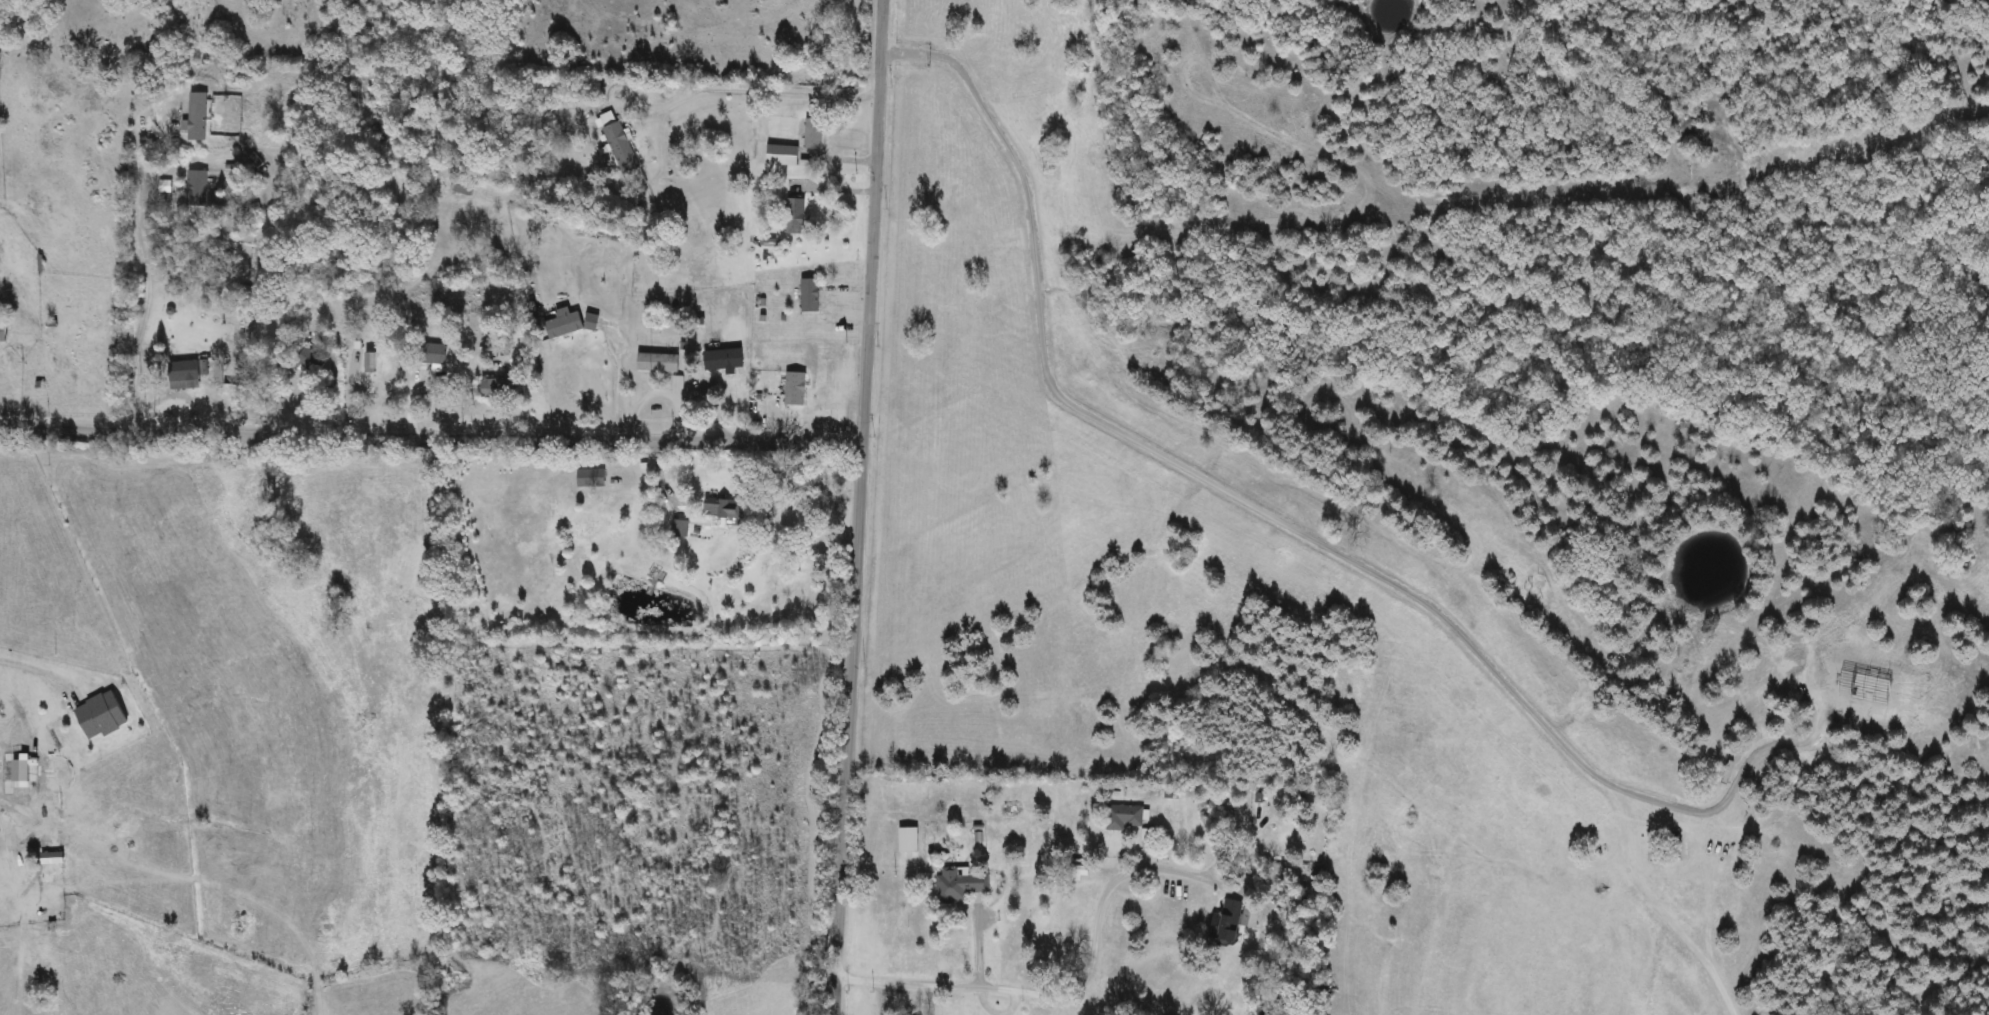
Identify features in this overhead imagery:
building: (976, 62)
road: (690, 85)
building: (200, 116)
building: (816, 134)
building: (621, 144)
building: (784, 155)
building: (465, 187)
building: (198, 189)
building: (796, 216)
road: (146, 287)
building: (811, 295)
building: (566, 323)
building: (5, 327)
building: (435, 353)
building: (724, 360)
building: (660, 362)
building: (187, 370)
road: (617, 381)
building: (506, 388)
building: (797, 388)
road: (430, 437)
building: (593, 479)
road: (857, 507)
building: (724, 511)
building: (680, 527)
road: (36, 665)
building: (103, 716)
building: (23, 771)
building: (1126, 817)
building: (911, 840)
building: (55, 859)
building: (963, 885)
building: (1235, 921)
road: (1070, 986)

